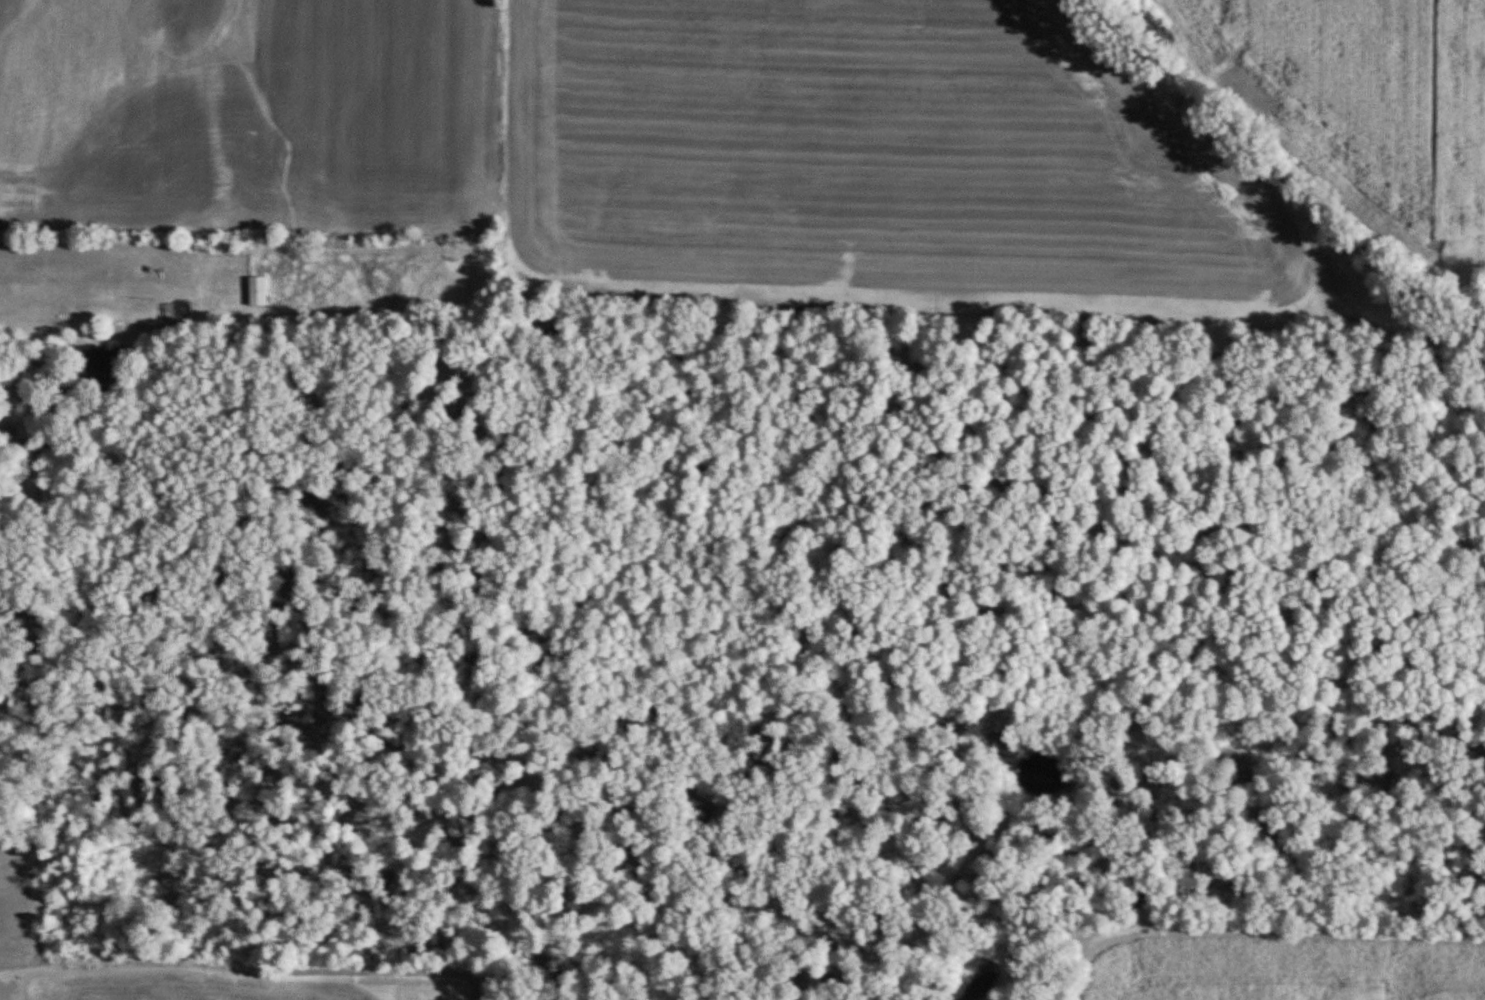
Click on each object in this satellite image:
building: (256, 293)
building: (96, 368)

